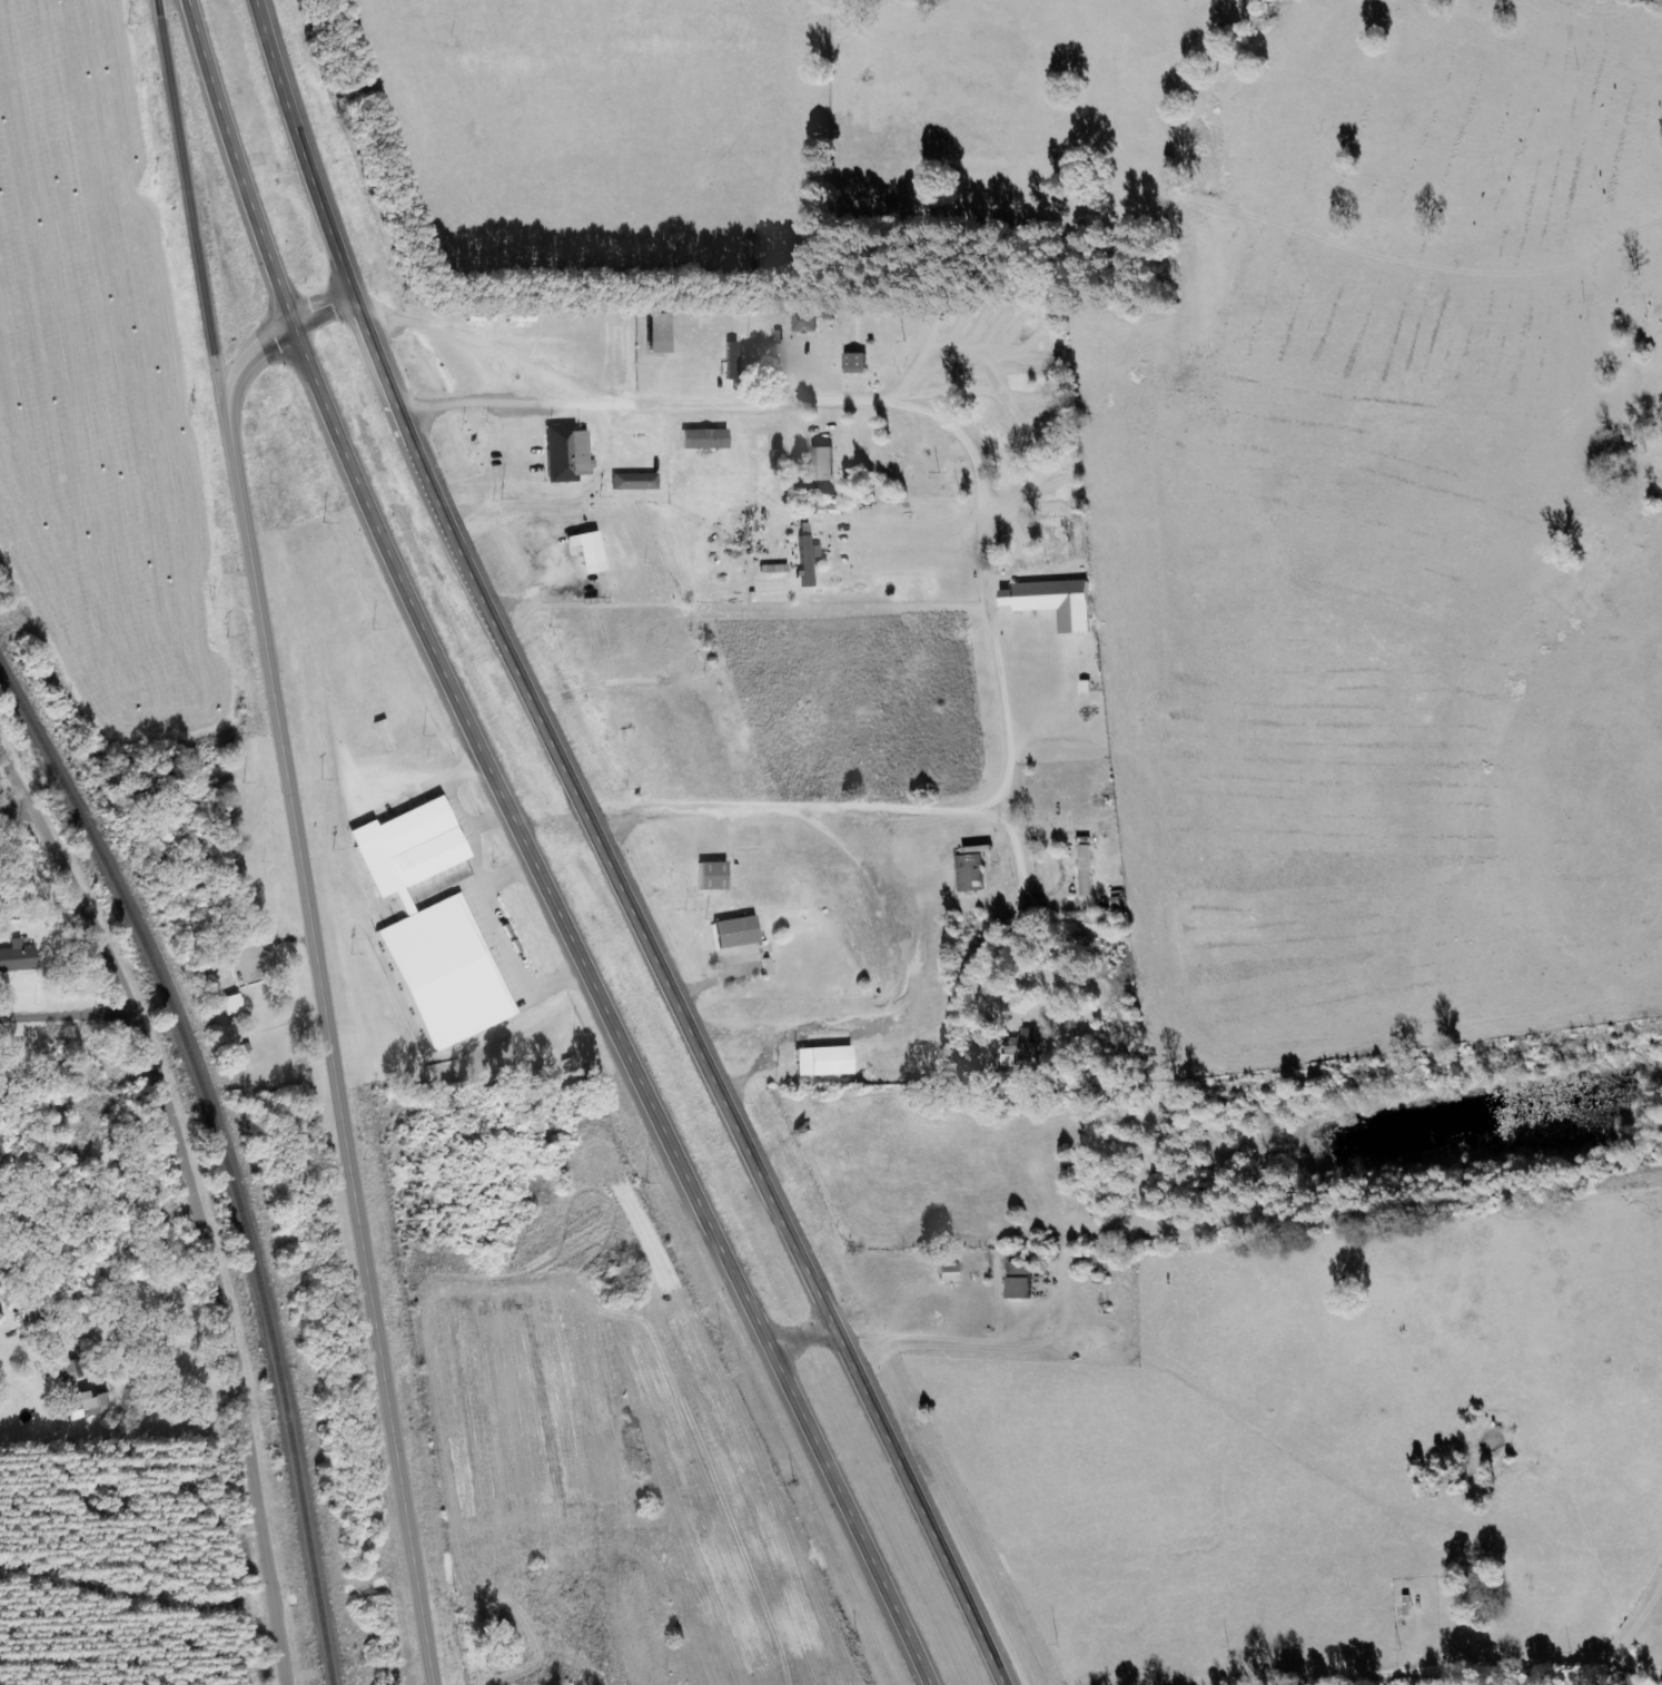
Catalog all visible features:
road: (952, 29)
road: (237, 160)
road: (200, 214)
building: (802, 322)
building: (652, 334)
road: (268, 342)
building: (852, 364)
building: (702, 440)
building: (565, 454)
building: (818, 465)
building: (633, 482)
building: (583, 552)
building: (804, 555)
building: (1049, 603)
building: (693, 663)
railway: (66, 789)
road: (602, 855)
building: (1087, 870)
building: (970, 871)
building: (716, 875)
road: (1112, 897)
building: (436, 924)
building: (740, 930)
building: (18, 956)
building: (233, 1004)
road: (605, 1004)
building: (1021, 1045)
road: (334, 1056)
building: (827, 1061)
road: (195, 1204)
road: (1147, 1251)
building: (951, 1272)
building: (1023, 1280)
railway: (260, 1290)
building: (70, 1370)
building: (89, 1405)

